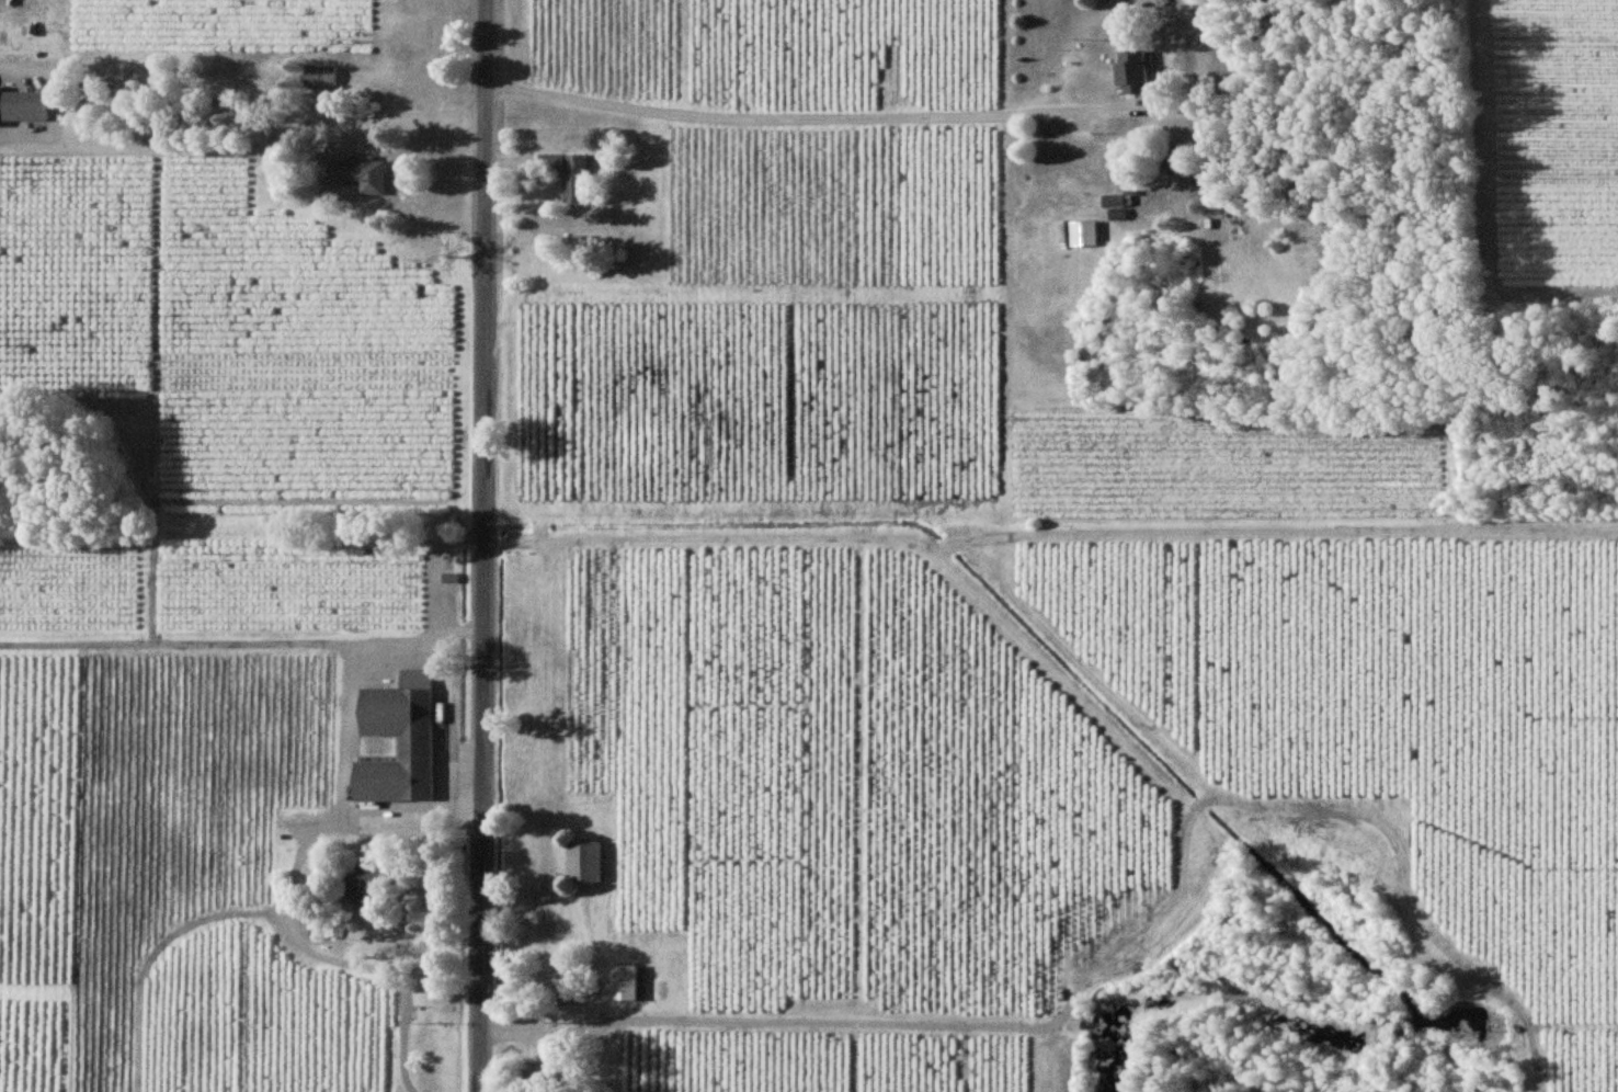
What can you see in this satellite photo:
building: (1132, 71)
building: (319, 75)
building: (21, 104)
building: (551, 161)
building: (361, 172)
building: (573, 178)
building: (1083, 232)
road: (1285, 526)
road: (709, 533)
road: (943, 542)
road: (483, 545)
building: (394, 710)
road: (1205, 803)
building: (583, 861)
building: (362, 883)
road: (1414, 887)
building: (624, 982)
road: (902, 1020)

